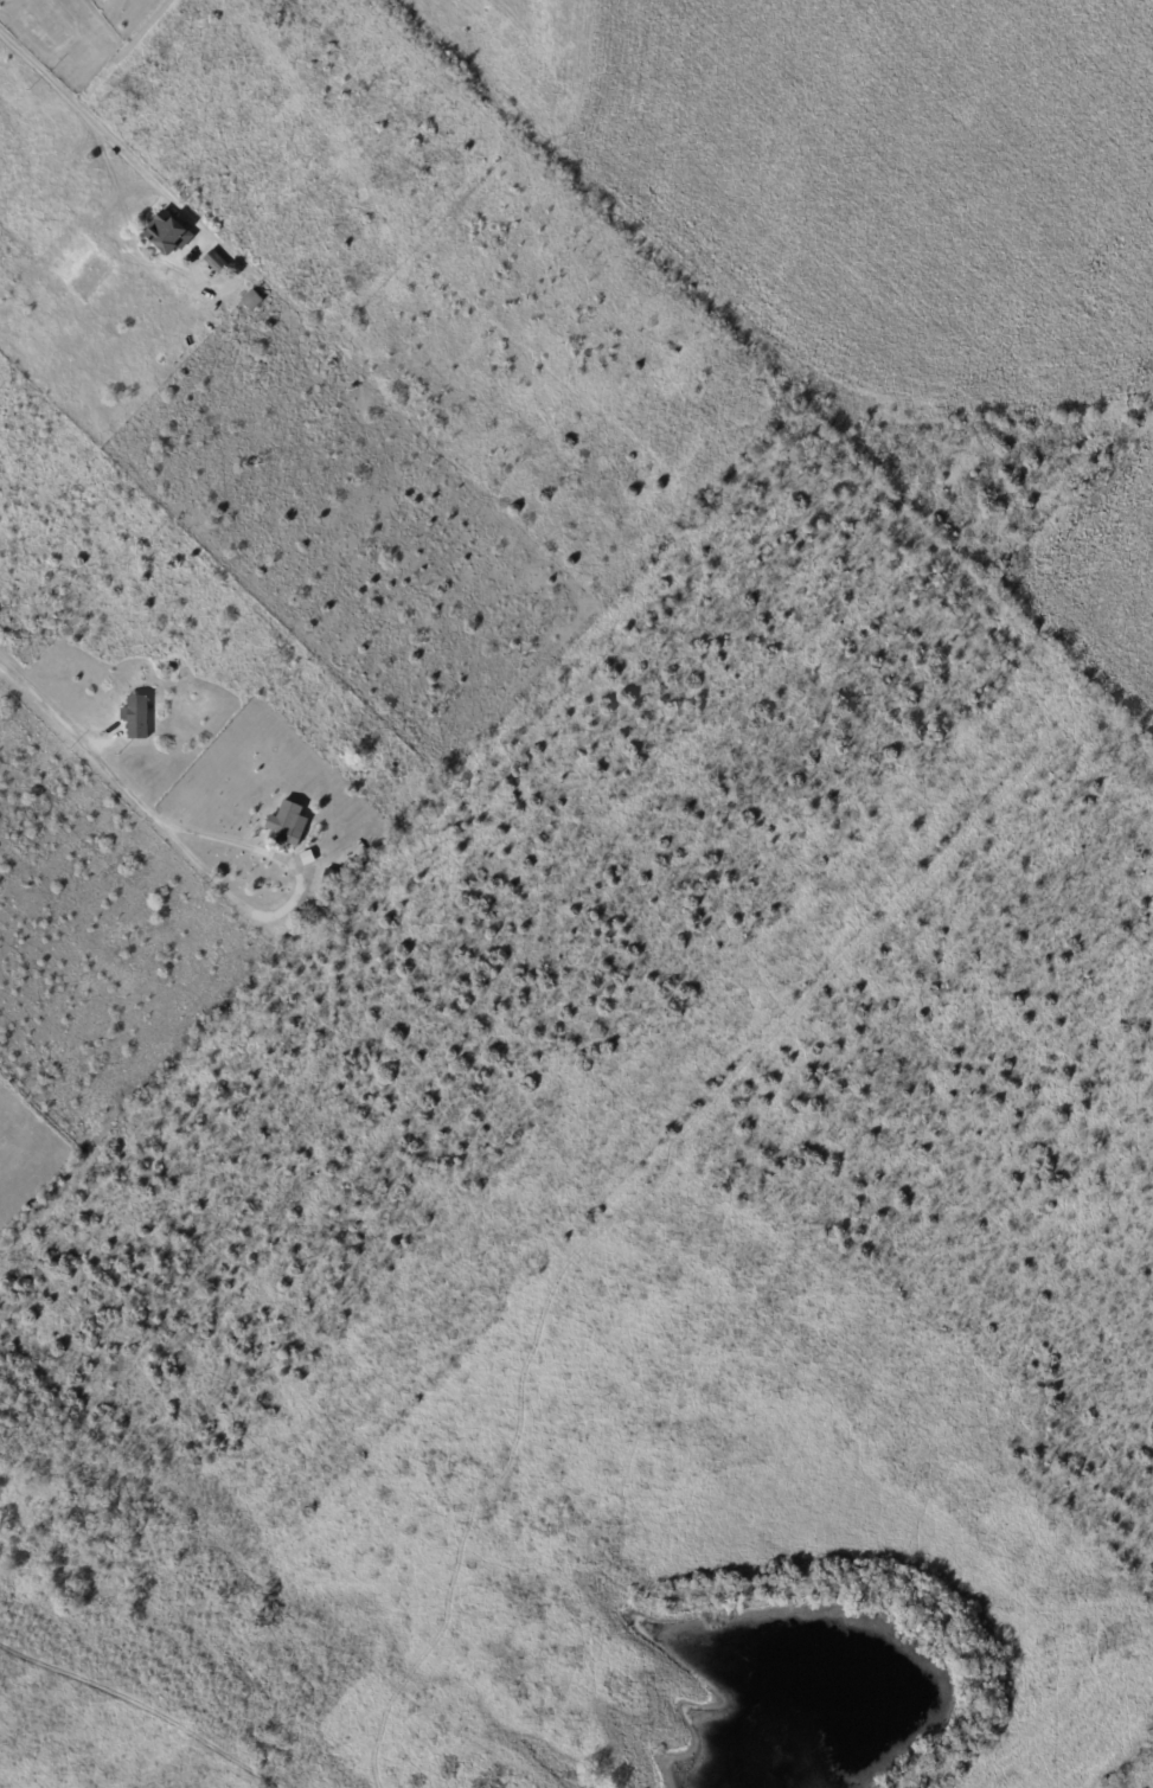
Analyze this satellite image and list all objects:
road: (103, 135)
building: (168, 235)
building: (216, 259)
road: (223, 289)
building: (255, 300)
building: (137, 717)
road: (78, 744)
building: (397, 764)
building: (288, 826)
building: (332, 879)
road: (294, 902)

